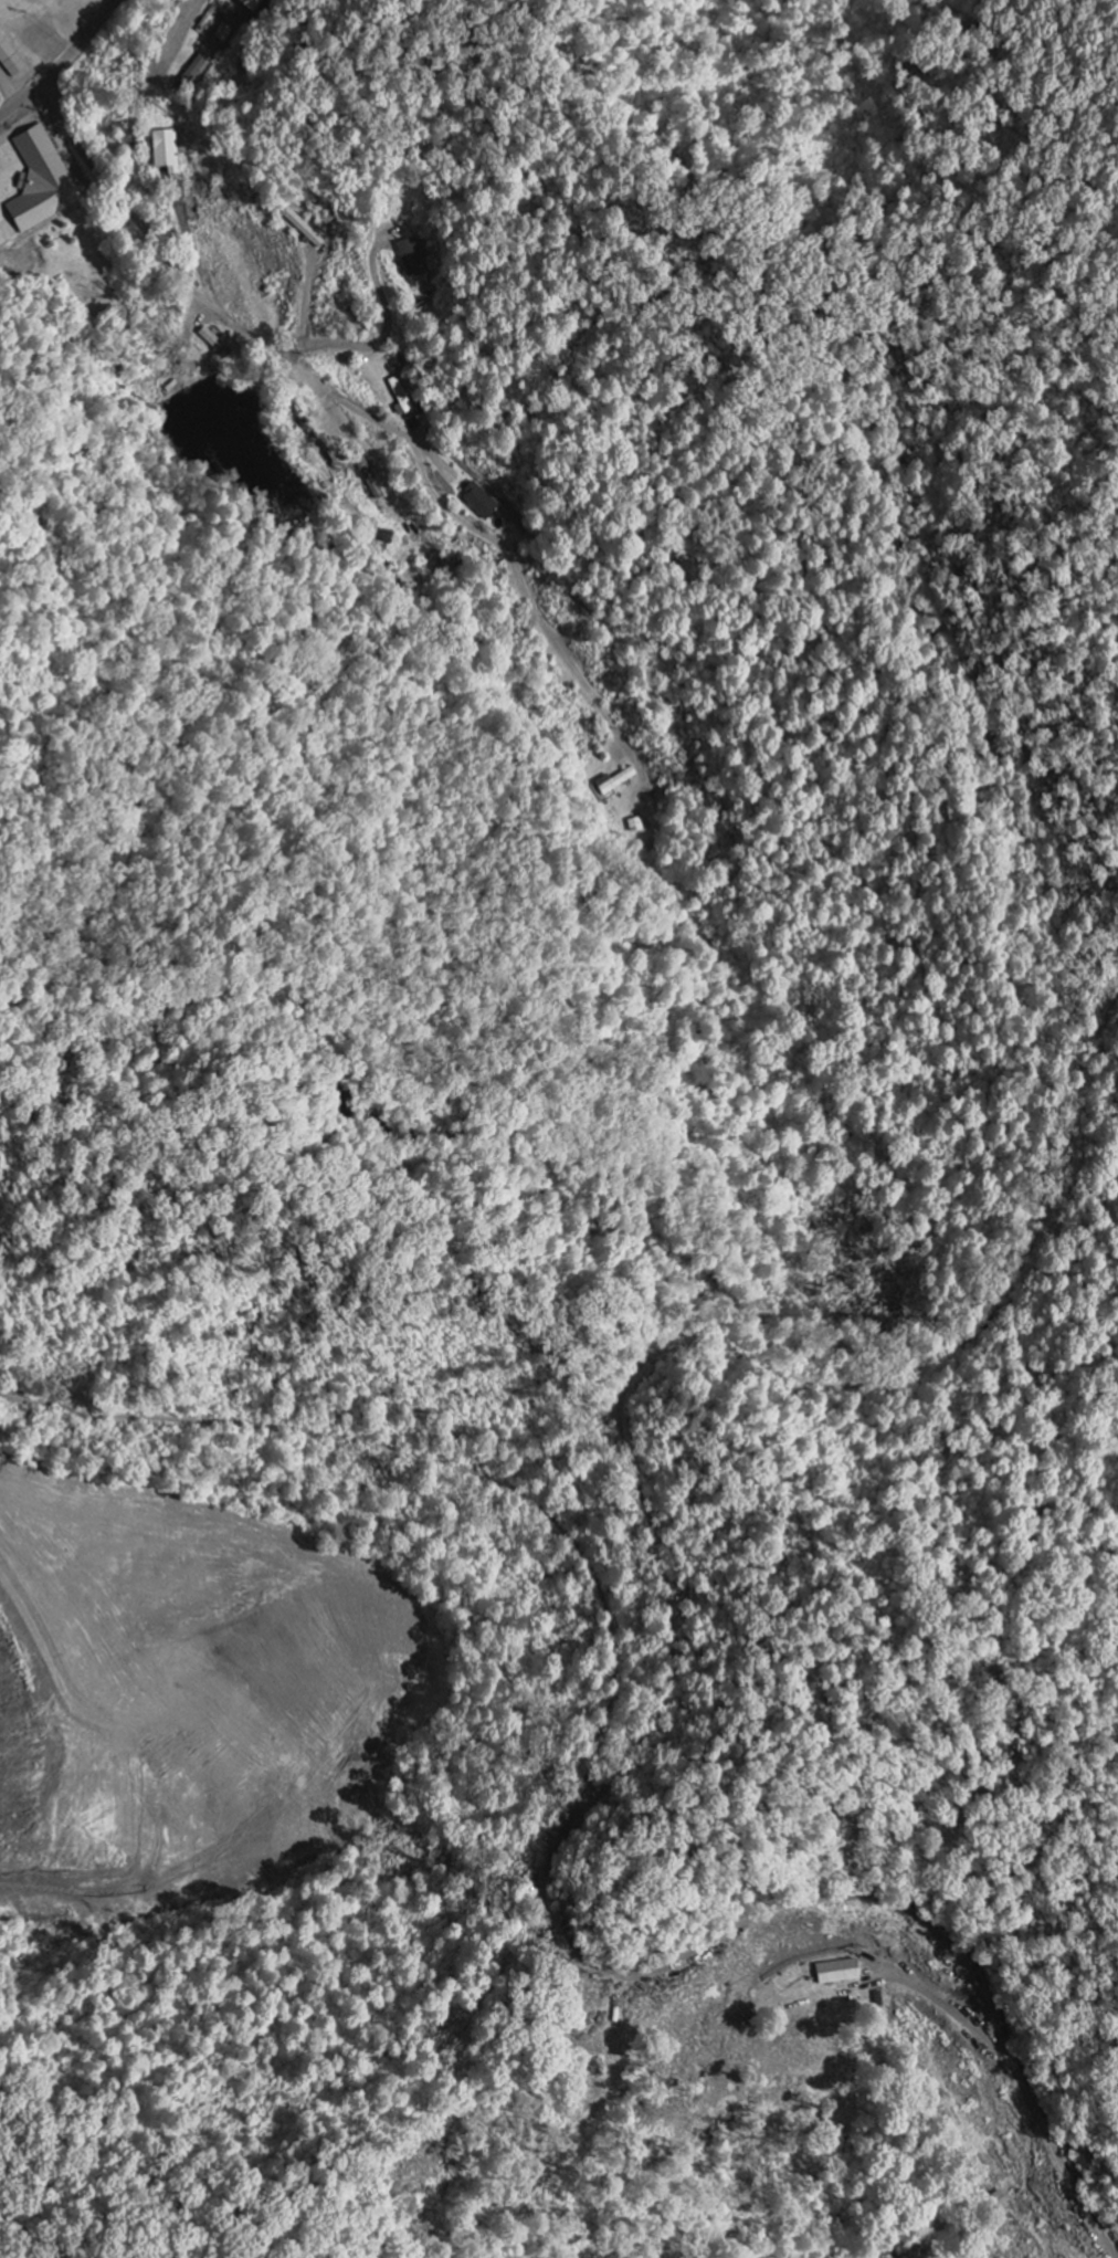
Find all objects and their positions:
building: (251, 4)
building: (223, 34)
road: (83, 39)
building: (197, 66)
road: (24, 96)
building: (162, 150)
road: (161, 253)
building: (411, 260)
building: (400, 398)
building: (478, 502)
building: (613, 783)
building: (836, 1973)
building: (998, 2202)

